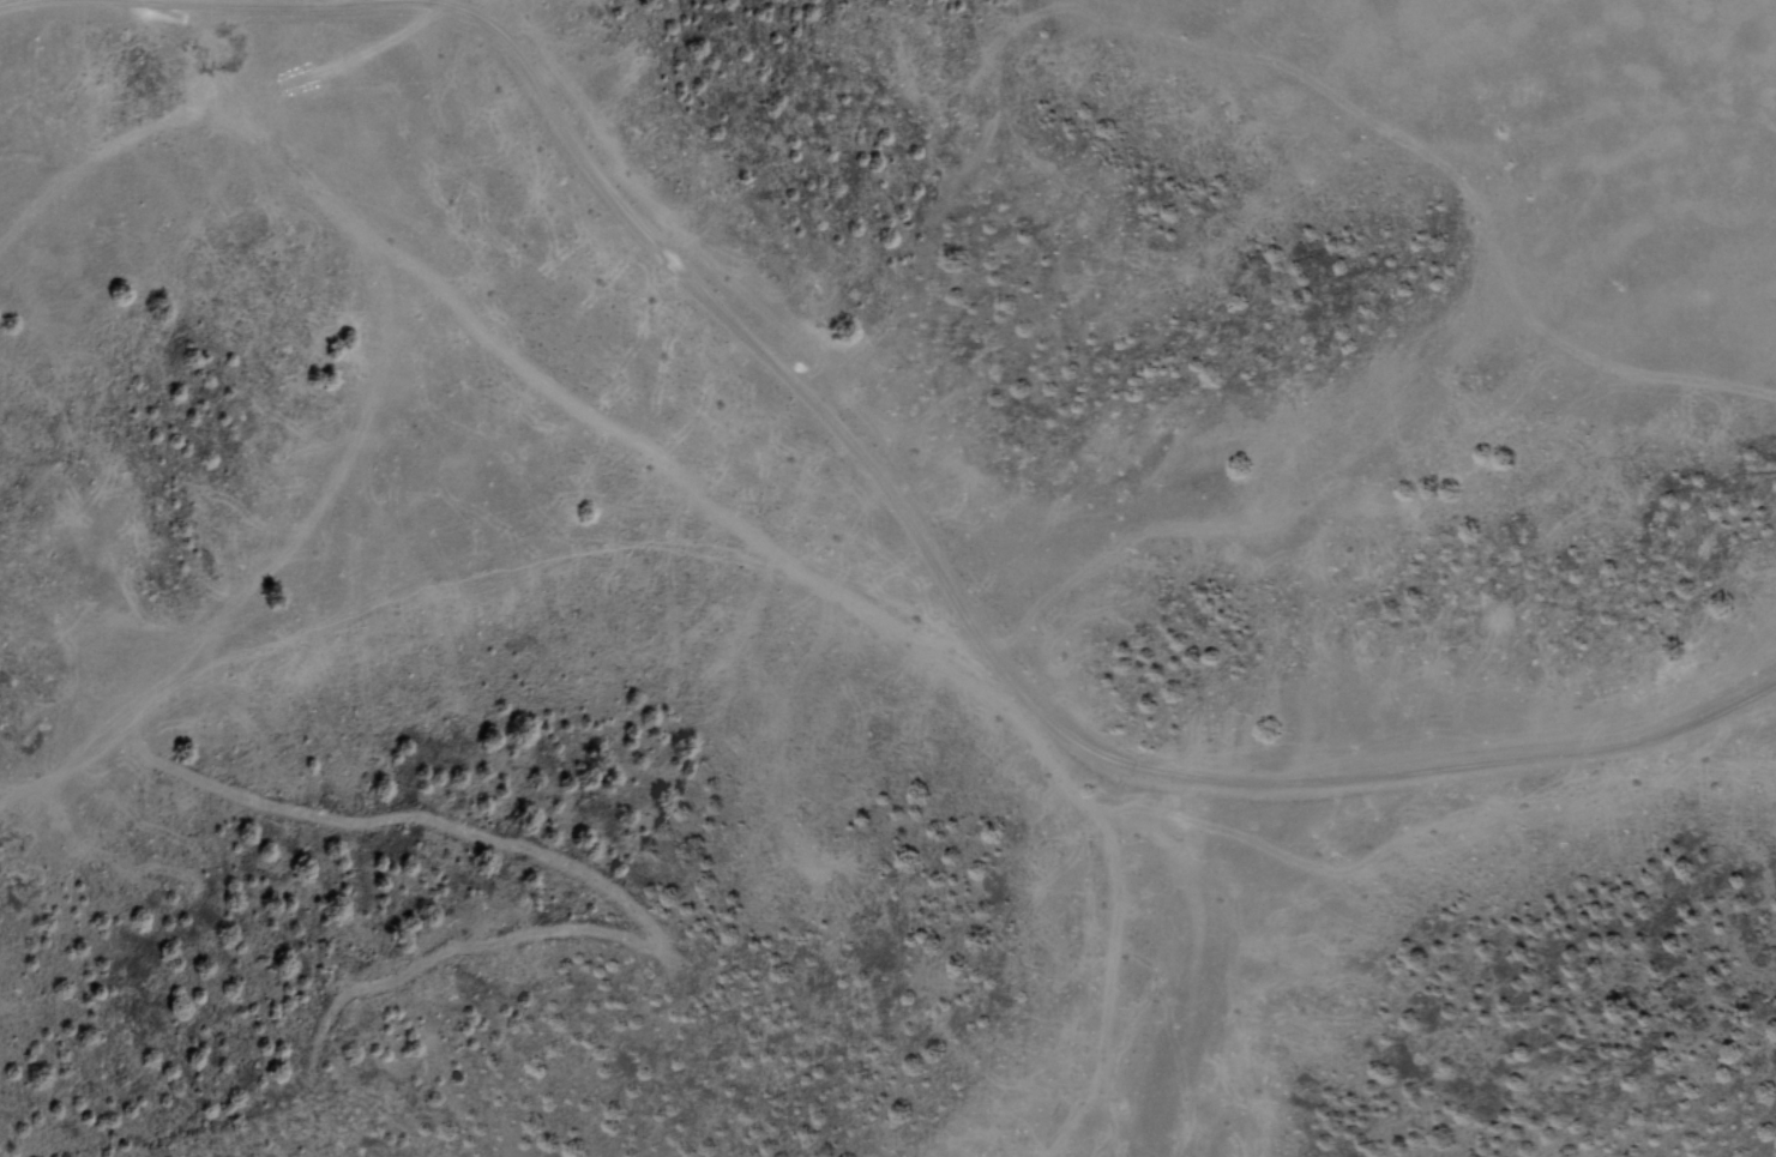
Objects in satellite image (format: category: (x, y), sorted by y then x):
road: (2, 0)
road: (216, 1)
road: (460, 6)
road: (999, 652)

